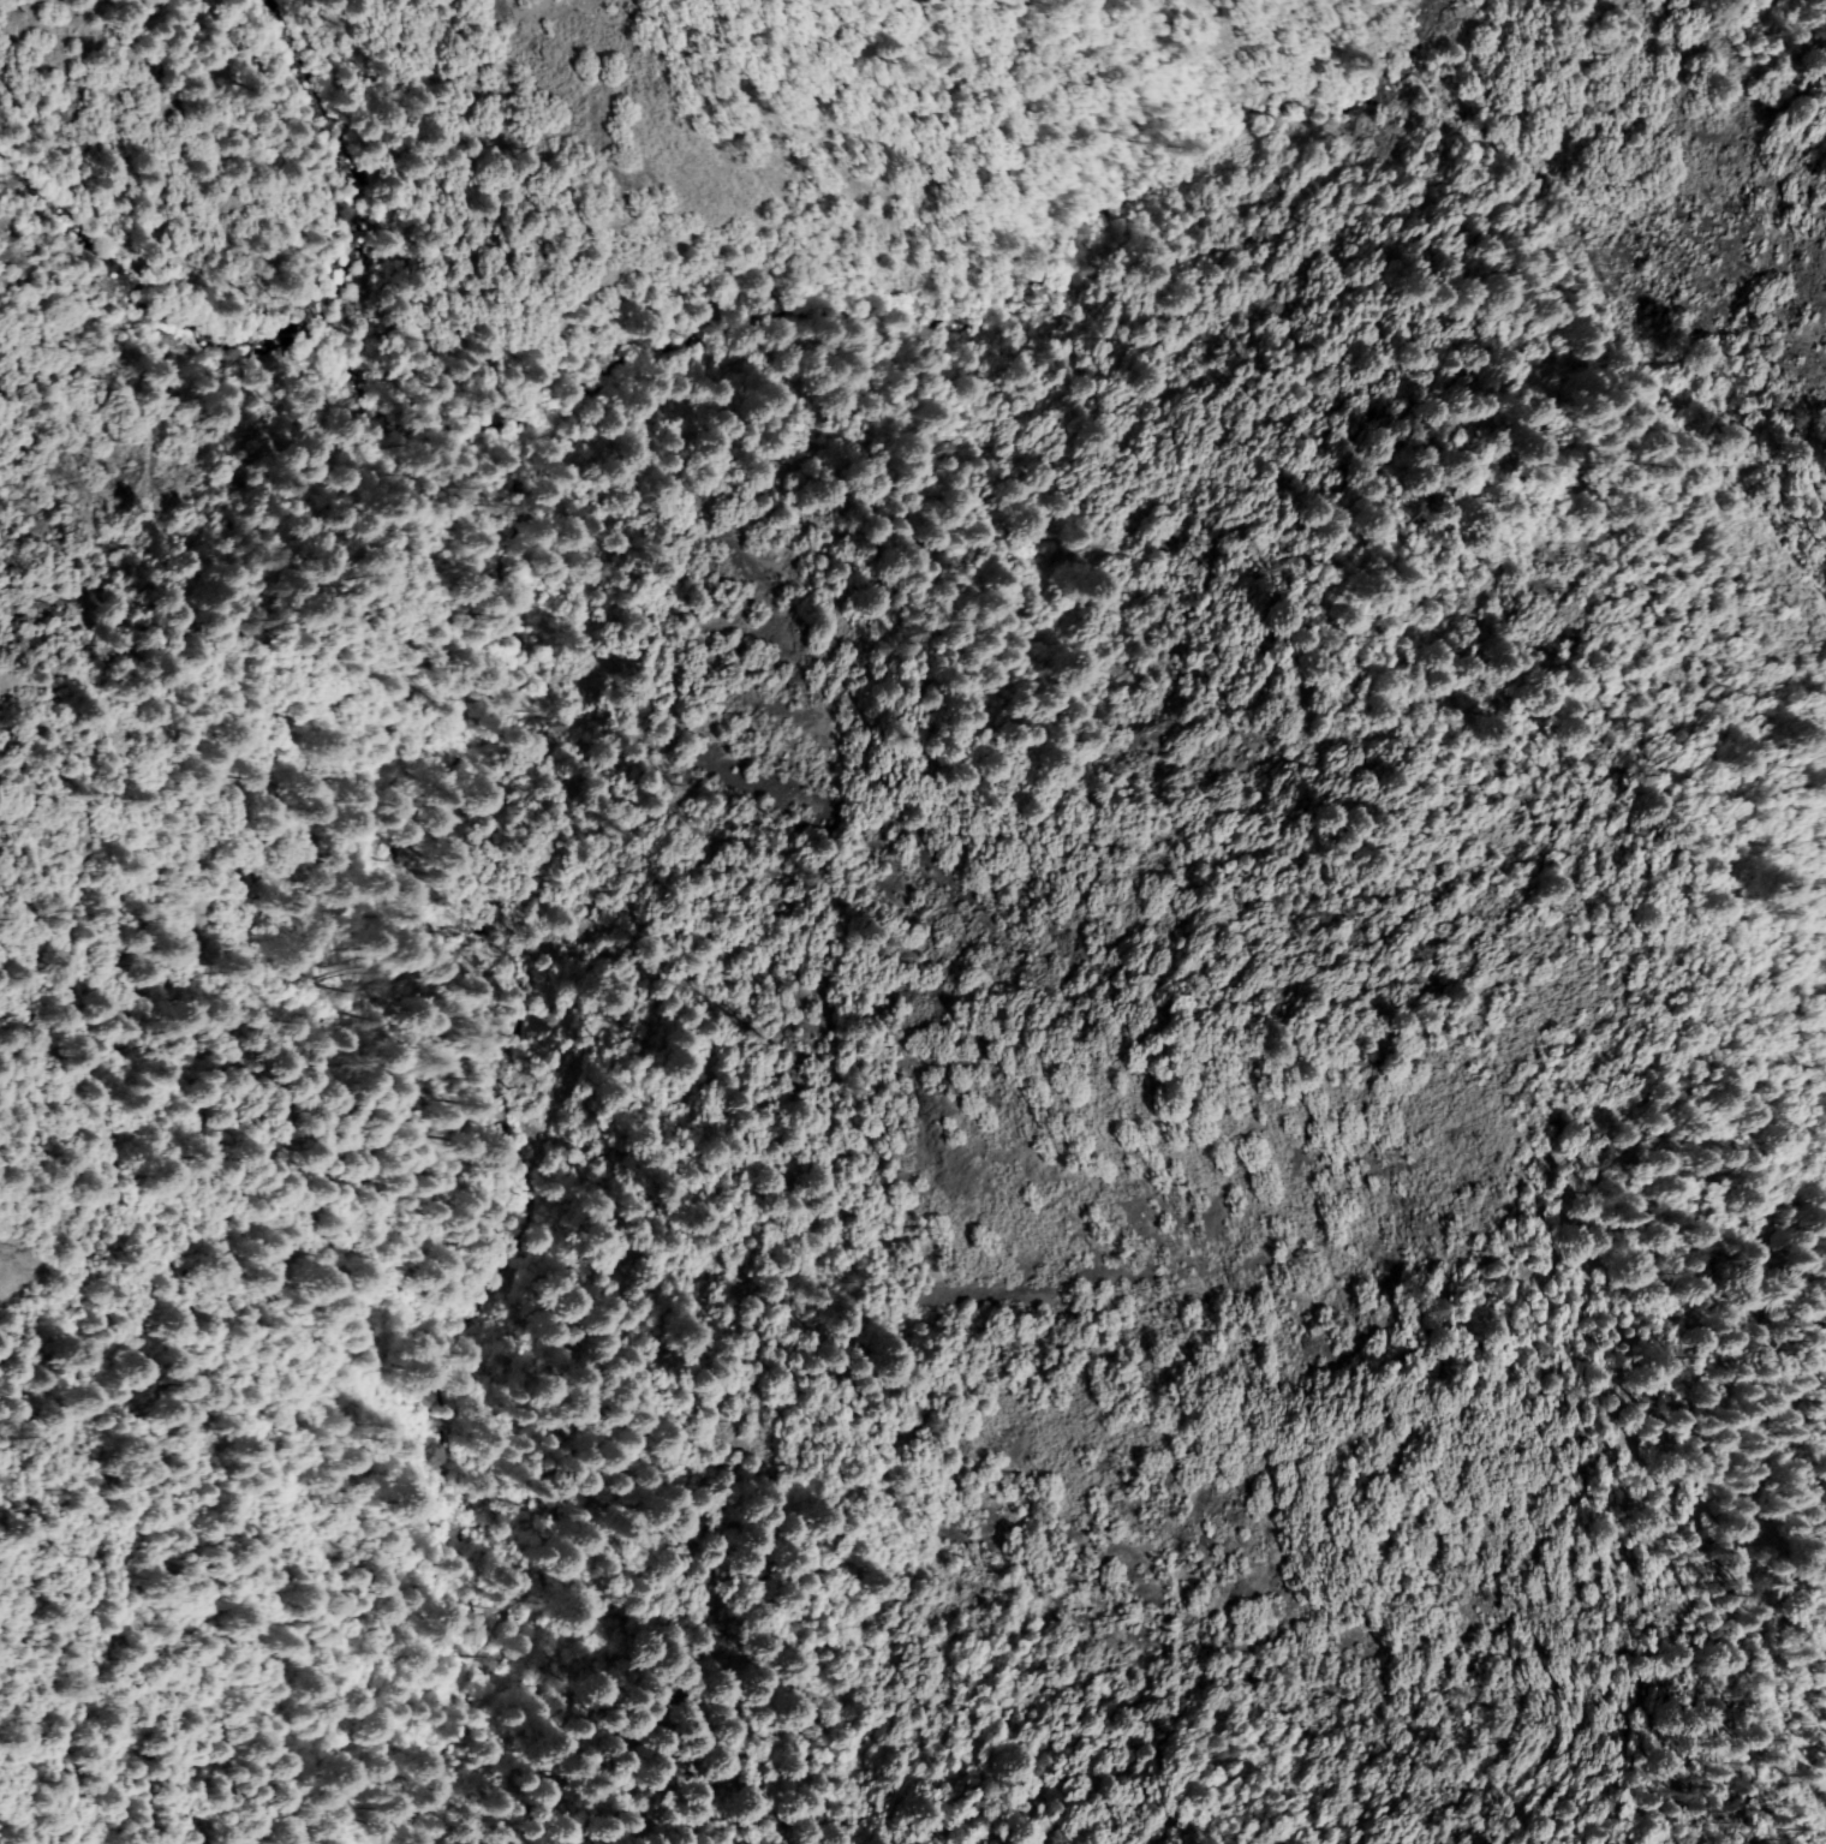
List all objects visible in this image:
river: (291, 310)

